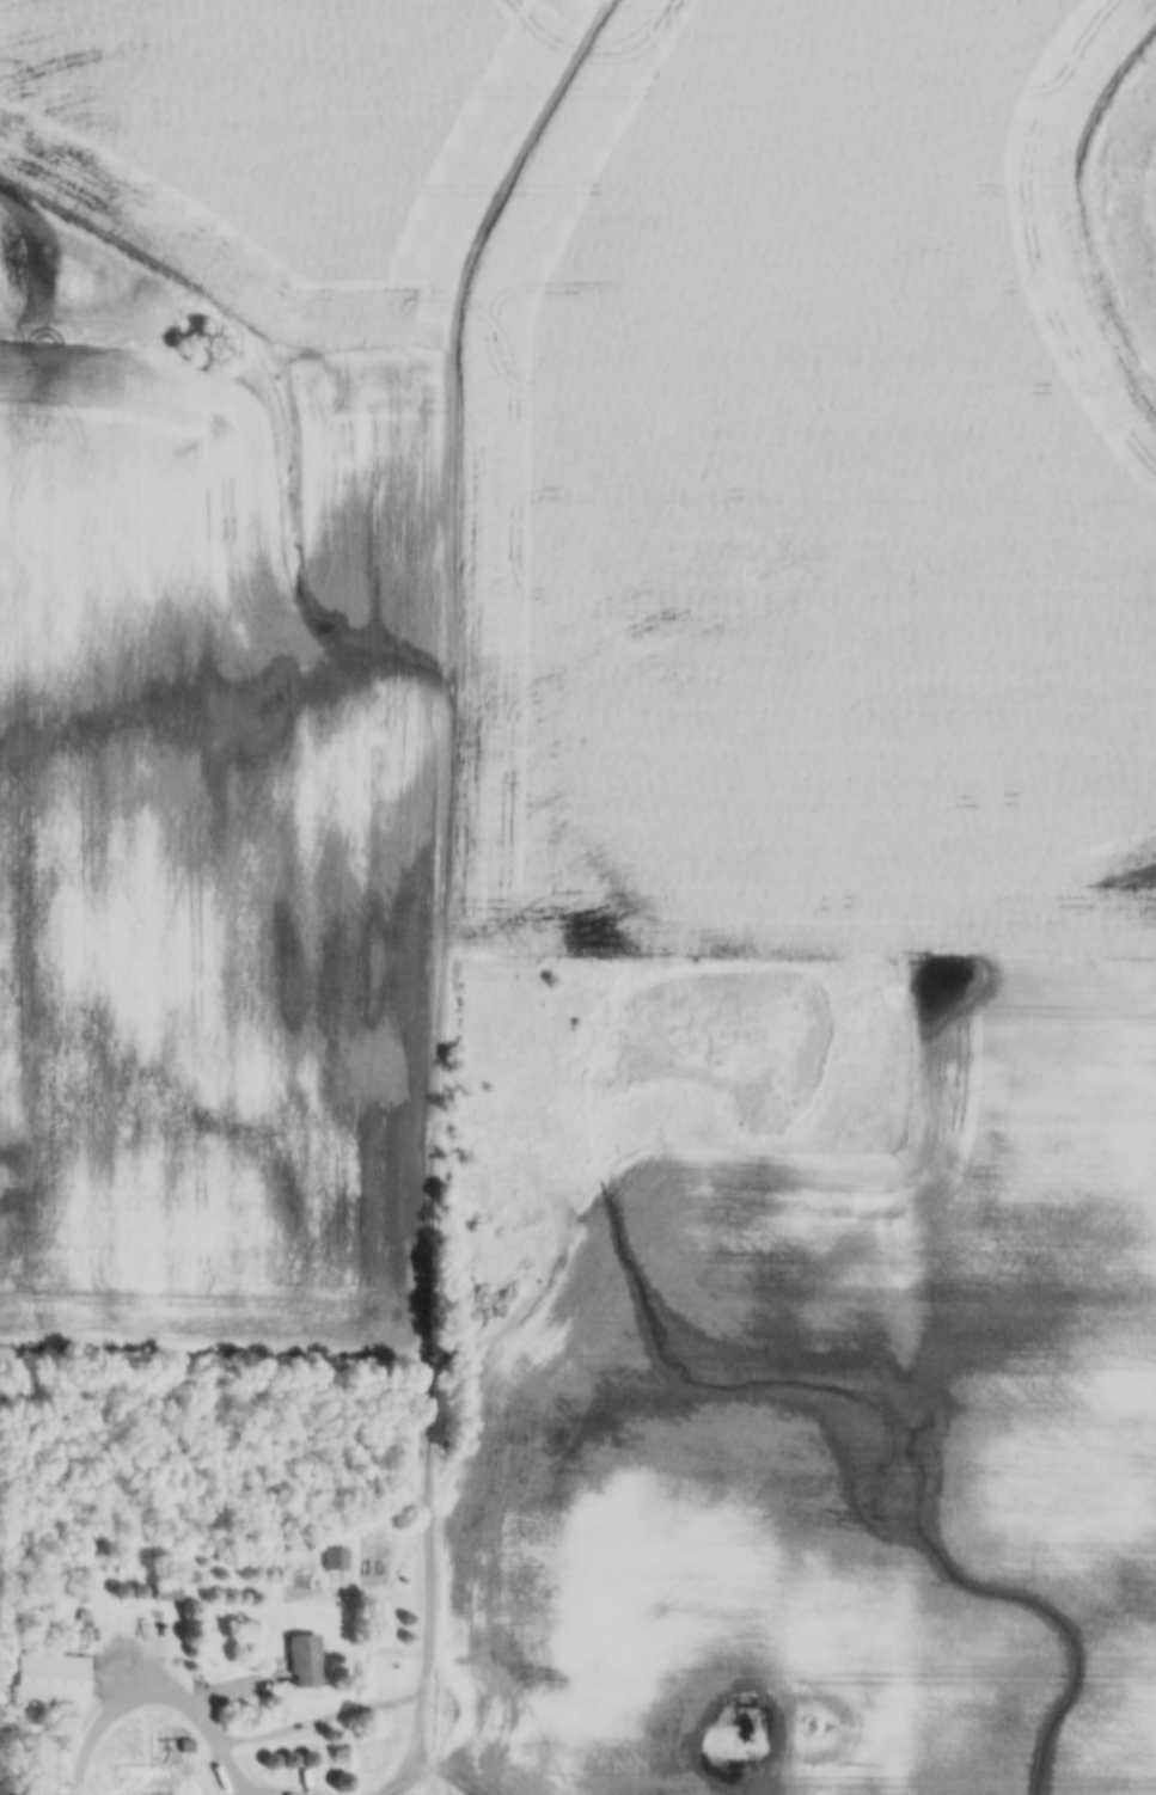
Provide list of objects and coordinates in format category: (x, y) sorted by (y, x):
building: (336, 1560)
building: (79, 1573)
silo: (79, 1573)
building: (118, 1591)
silo: (118, 1591)
building: (136, 1591)
silo: (136, 1591)
building: (165, 1594)
building: (81, 1595)
silo: (81, 1595)
building: (75, 1623)
building: (302, 1659)
building: (48, 1679)
road: (363, 1719)
building: (185, 1747)
road: (418, 1752)
building: (337, 1757)
building: (287, 1760)
silo: (287, 1760)
building: (306, 1760)
silo: (306, 1760)
building: (268, 1762)
silo: (268, 1762)
building: (369, 1772)
road: (232, 1773)
building: (341, 1782)
silo: (341, 1782)

